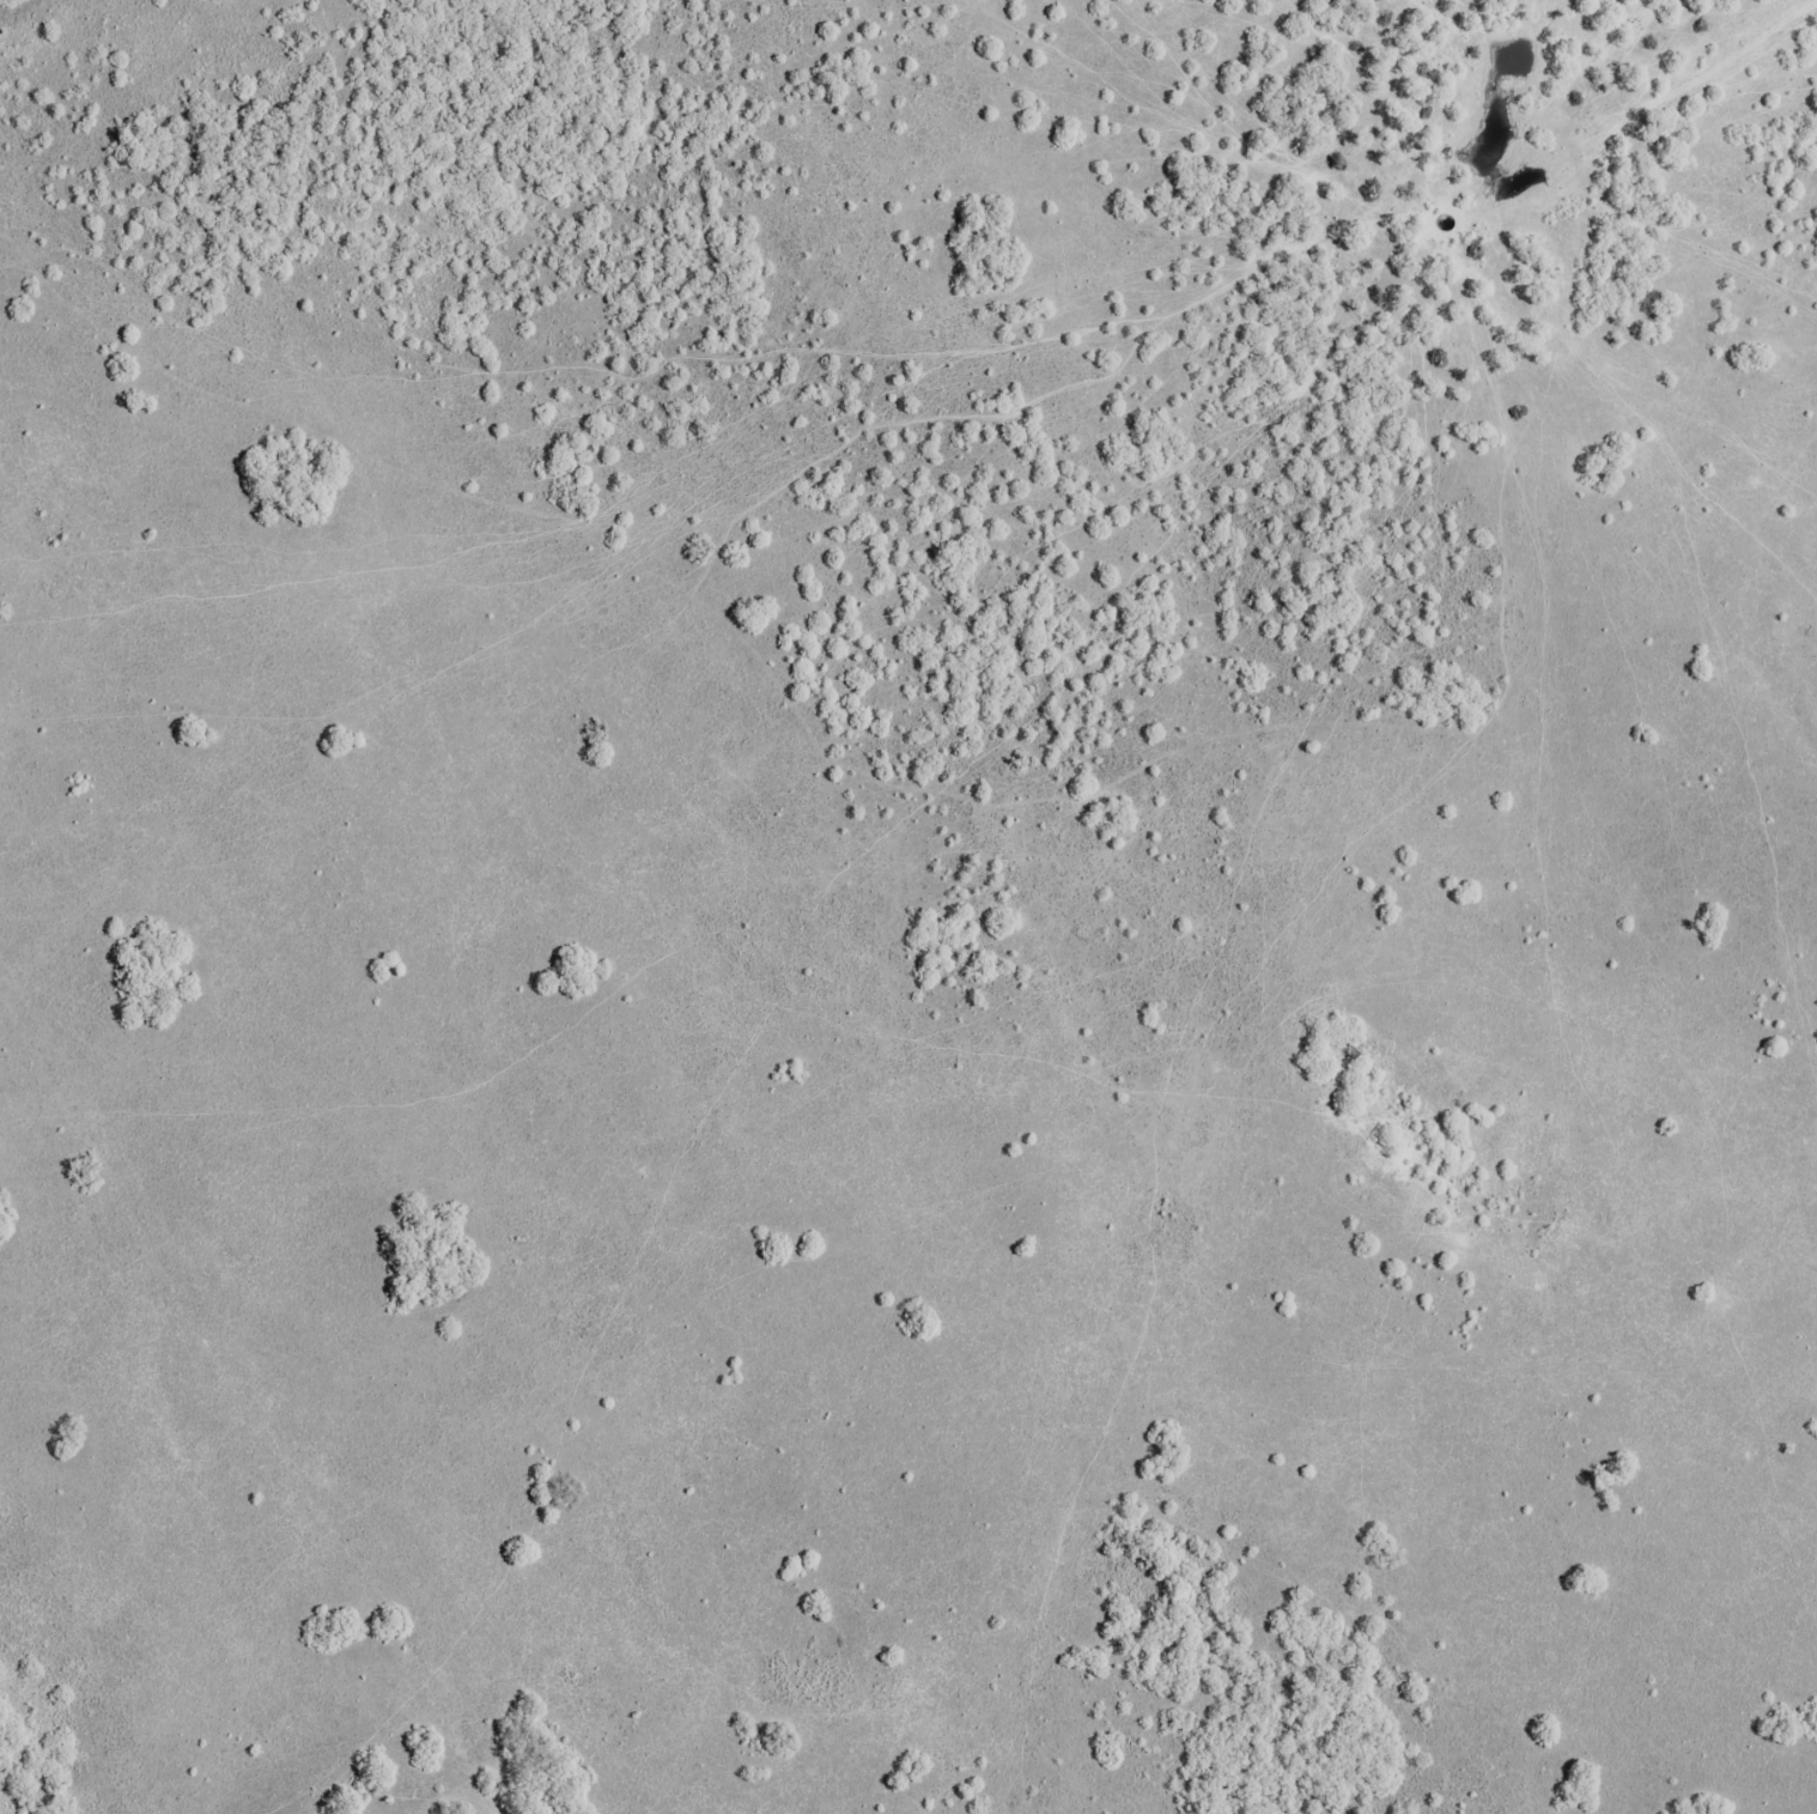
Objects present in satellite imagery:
road: (1720, 96)

